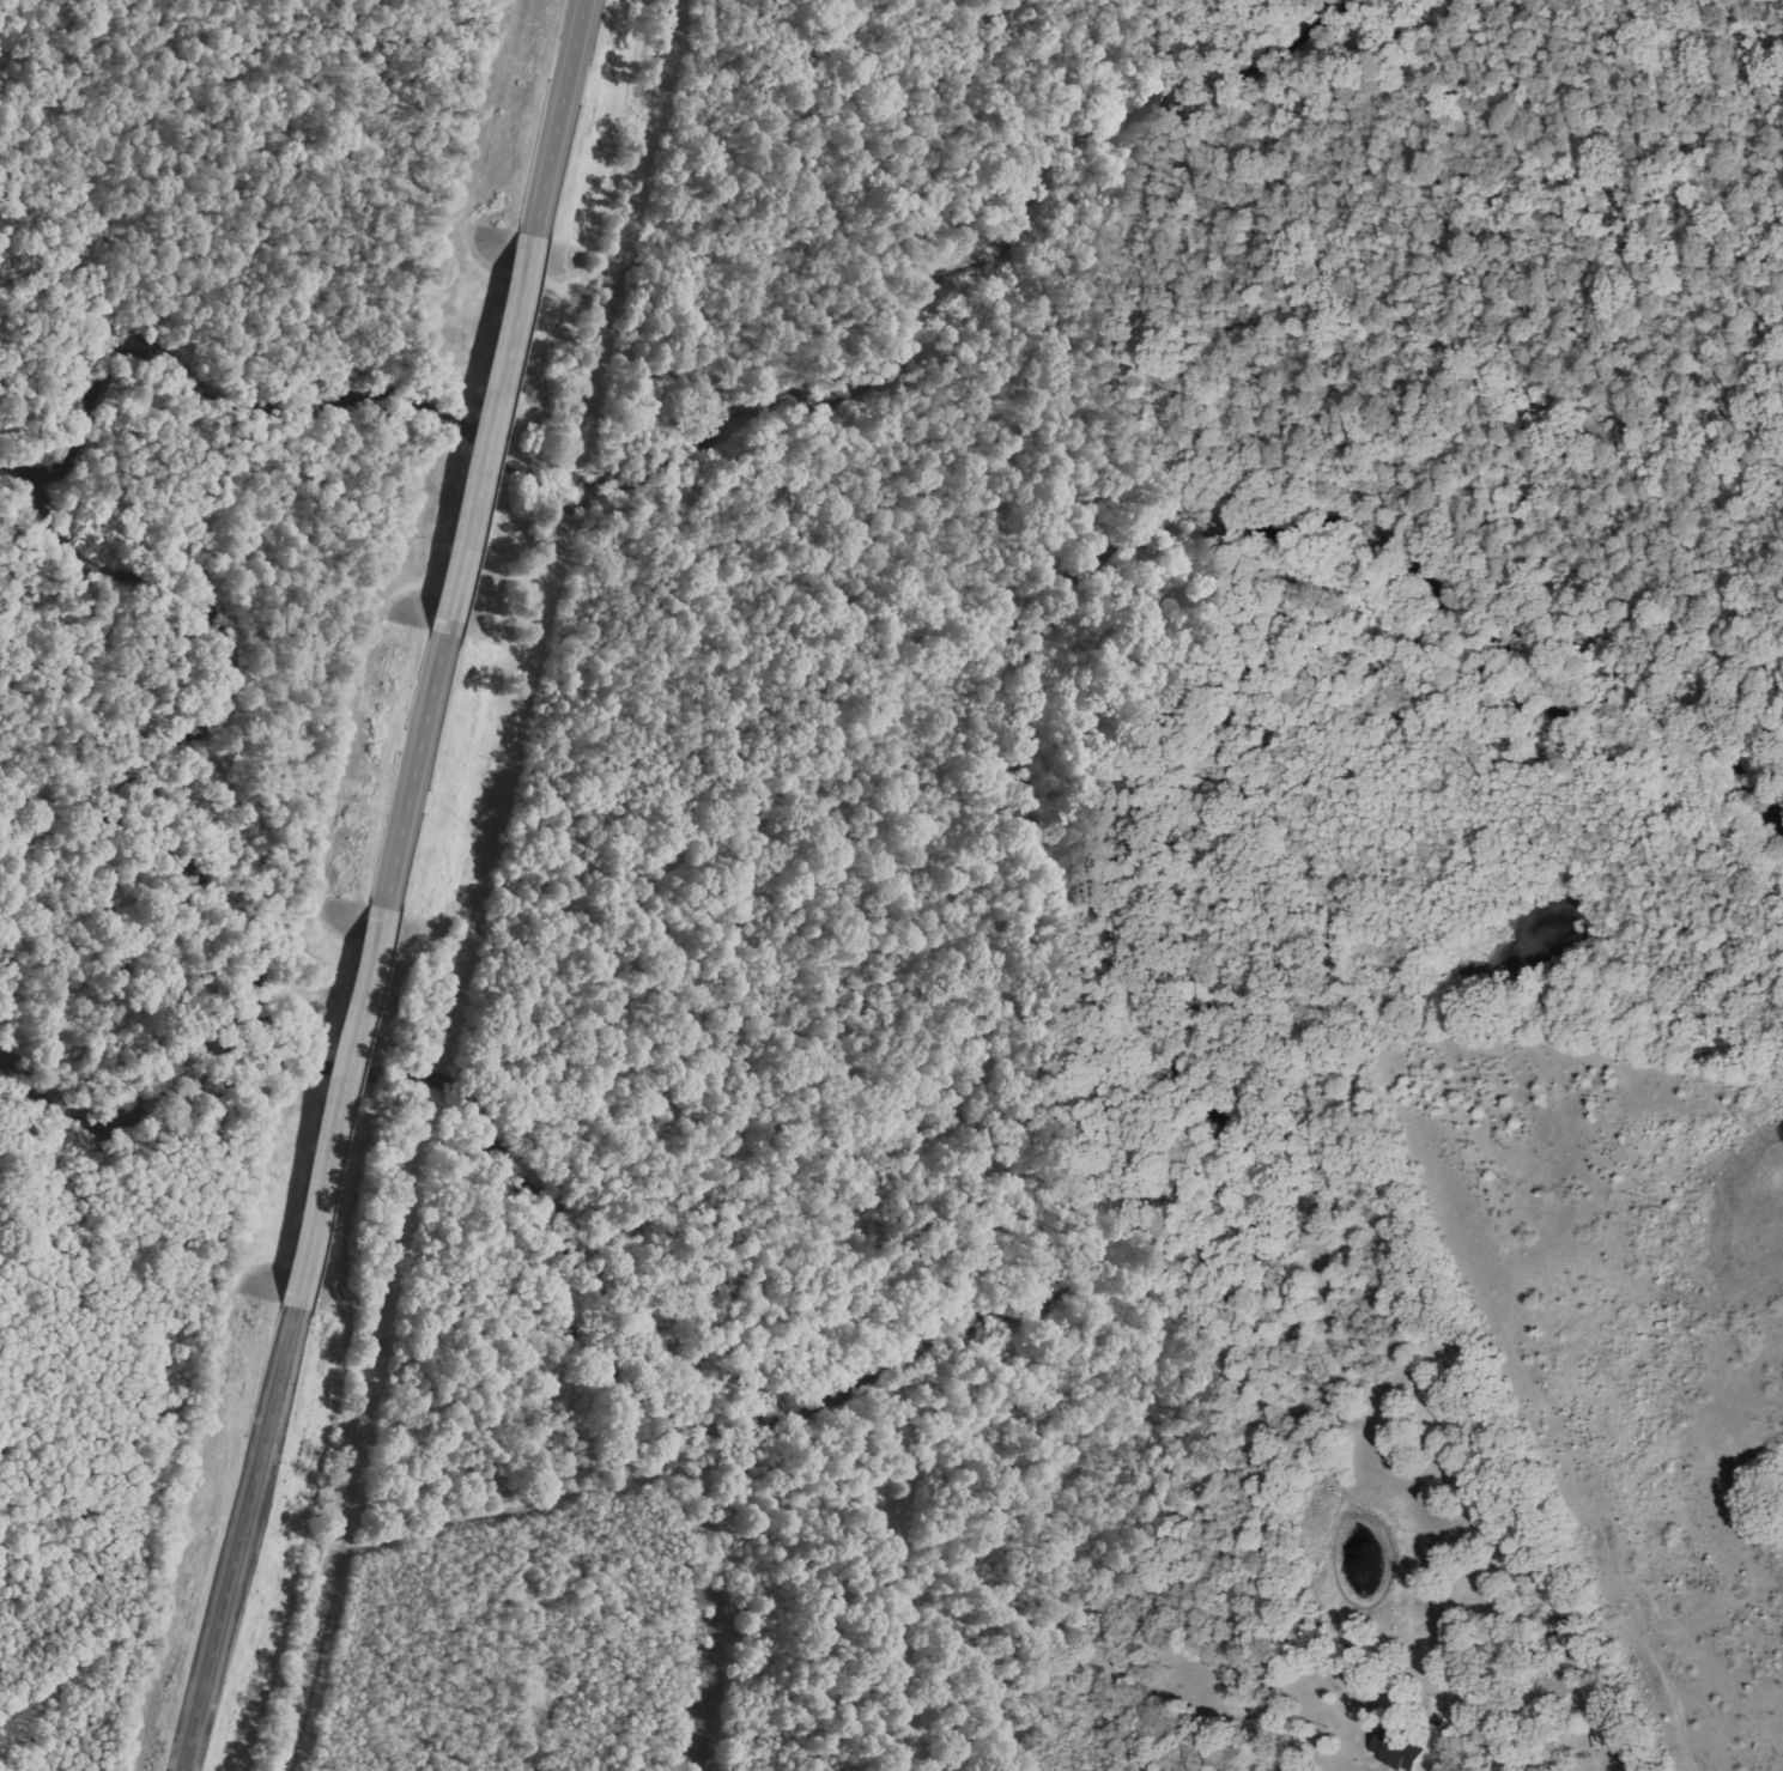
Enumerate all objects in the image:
road: (559, 117)
road: (490, 435)
road: (417, 771)
road: (341, 1106)
river: (1260, 1205)
road: (239, 1538)
building: (1401, 1749)

